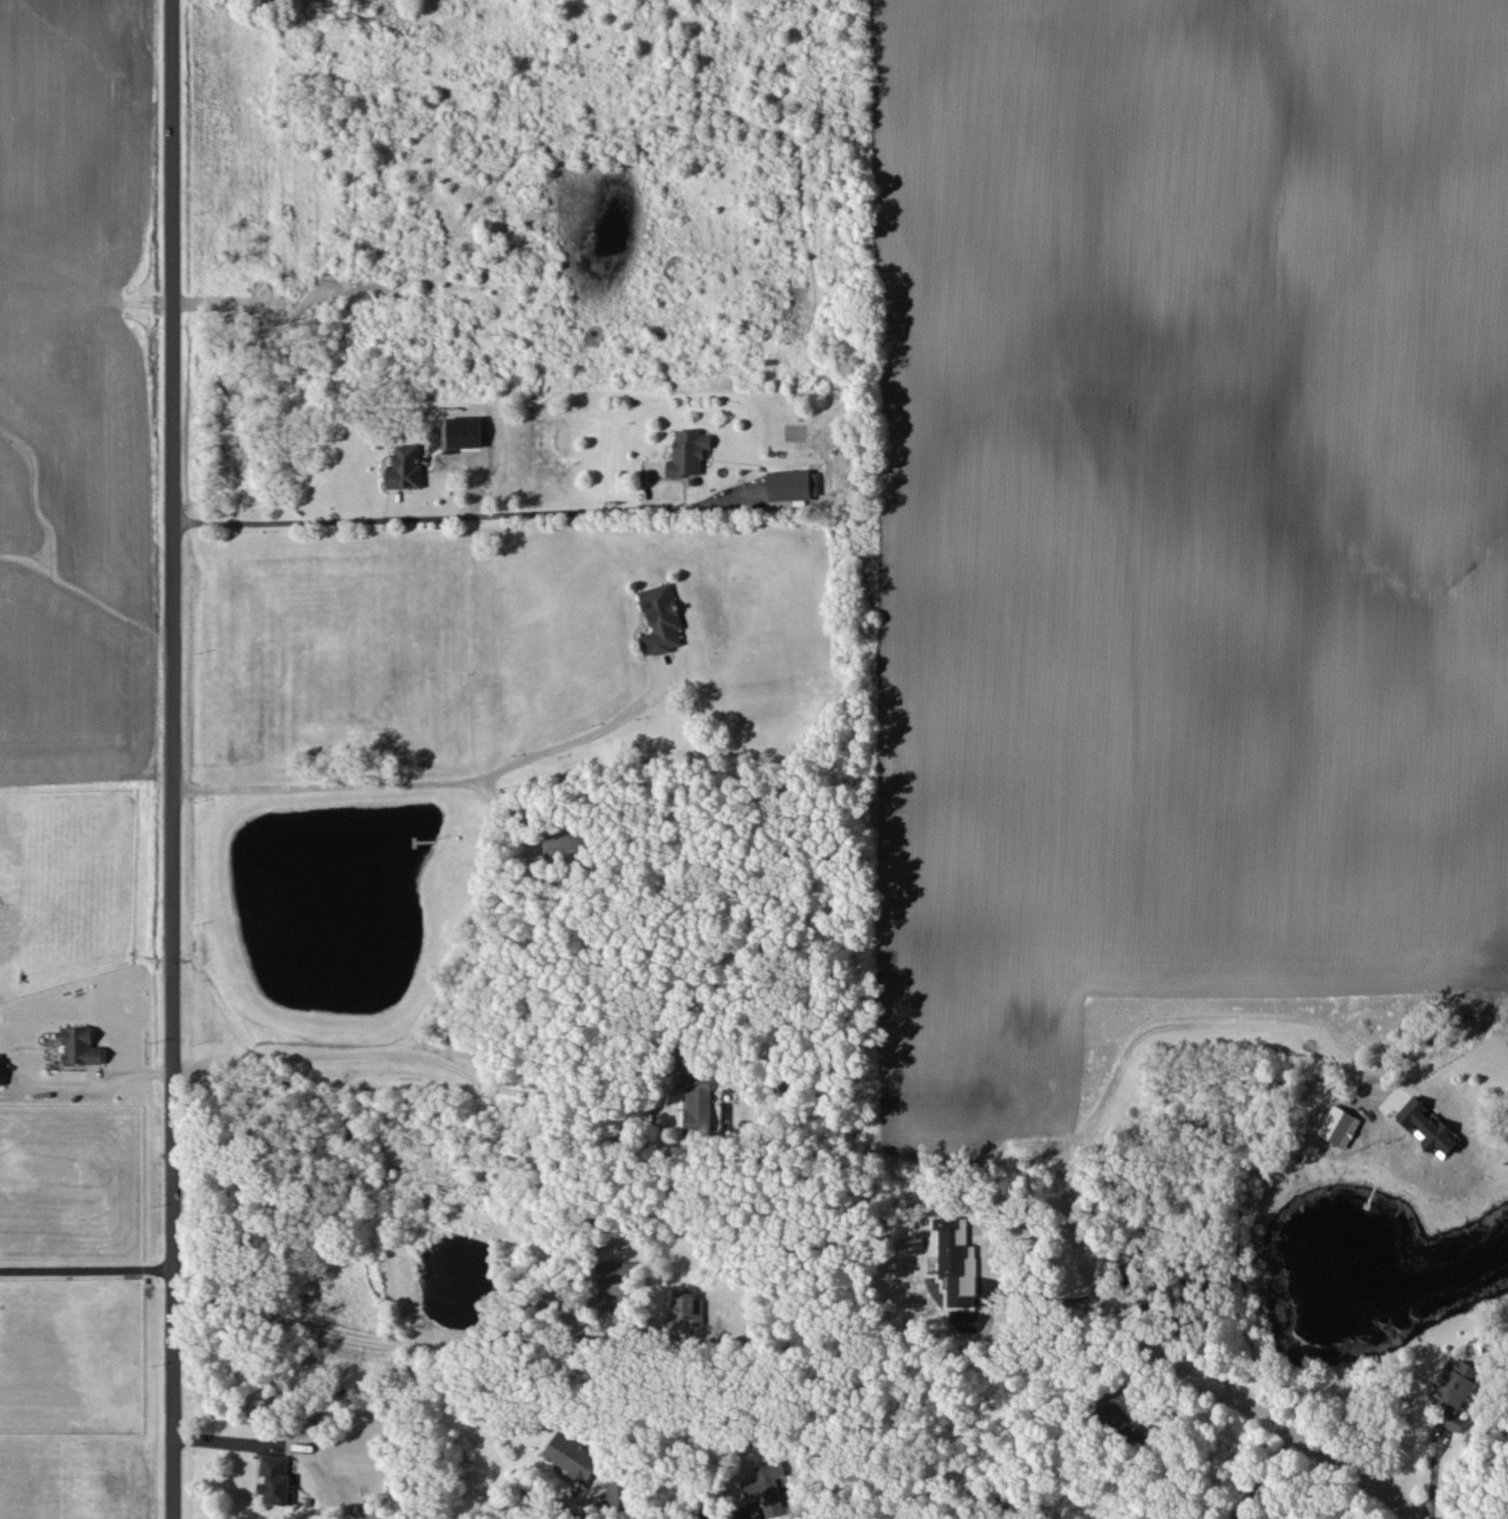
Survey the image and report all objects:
building: (462, 439)
building: (688, 452)
building: (405, 467)
building: (793, 484)
road: (414, 511)
building: (660, 619)
road: (179, 759)
road: (430, 777)
building: (567, 846)
road: (1186, 1027)
building: (80, 1046)
road: (420, 1057)
building: (0, 1074)
road: (97, 1085)
building: (699, 1106)
building: (1428, 1125)
building: (1338, 1126)
building: (957, 1261)
road: (91, 1264)
building: (616, 1272)
road: (1038, 1300)
building: (688, 1305)
road: (417, 1347)
road: (1198, 1368)
building: (1454, 1392)
building: (1125, 1425)
road: (227, 1442)
building: (572, 1456)
building: (275, 1479)
building: (766, 1487)
building: (617, 1493)

